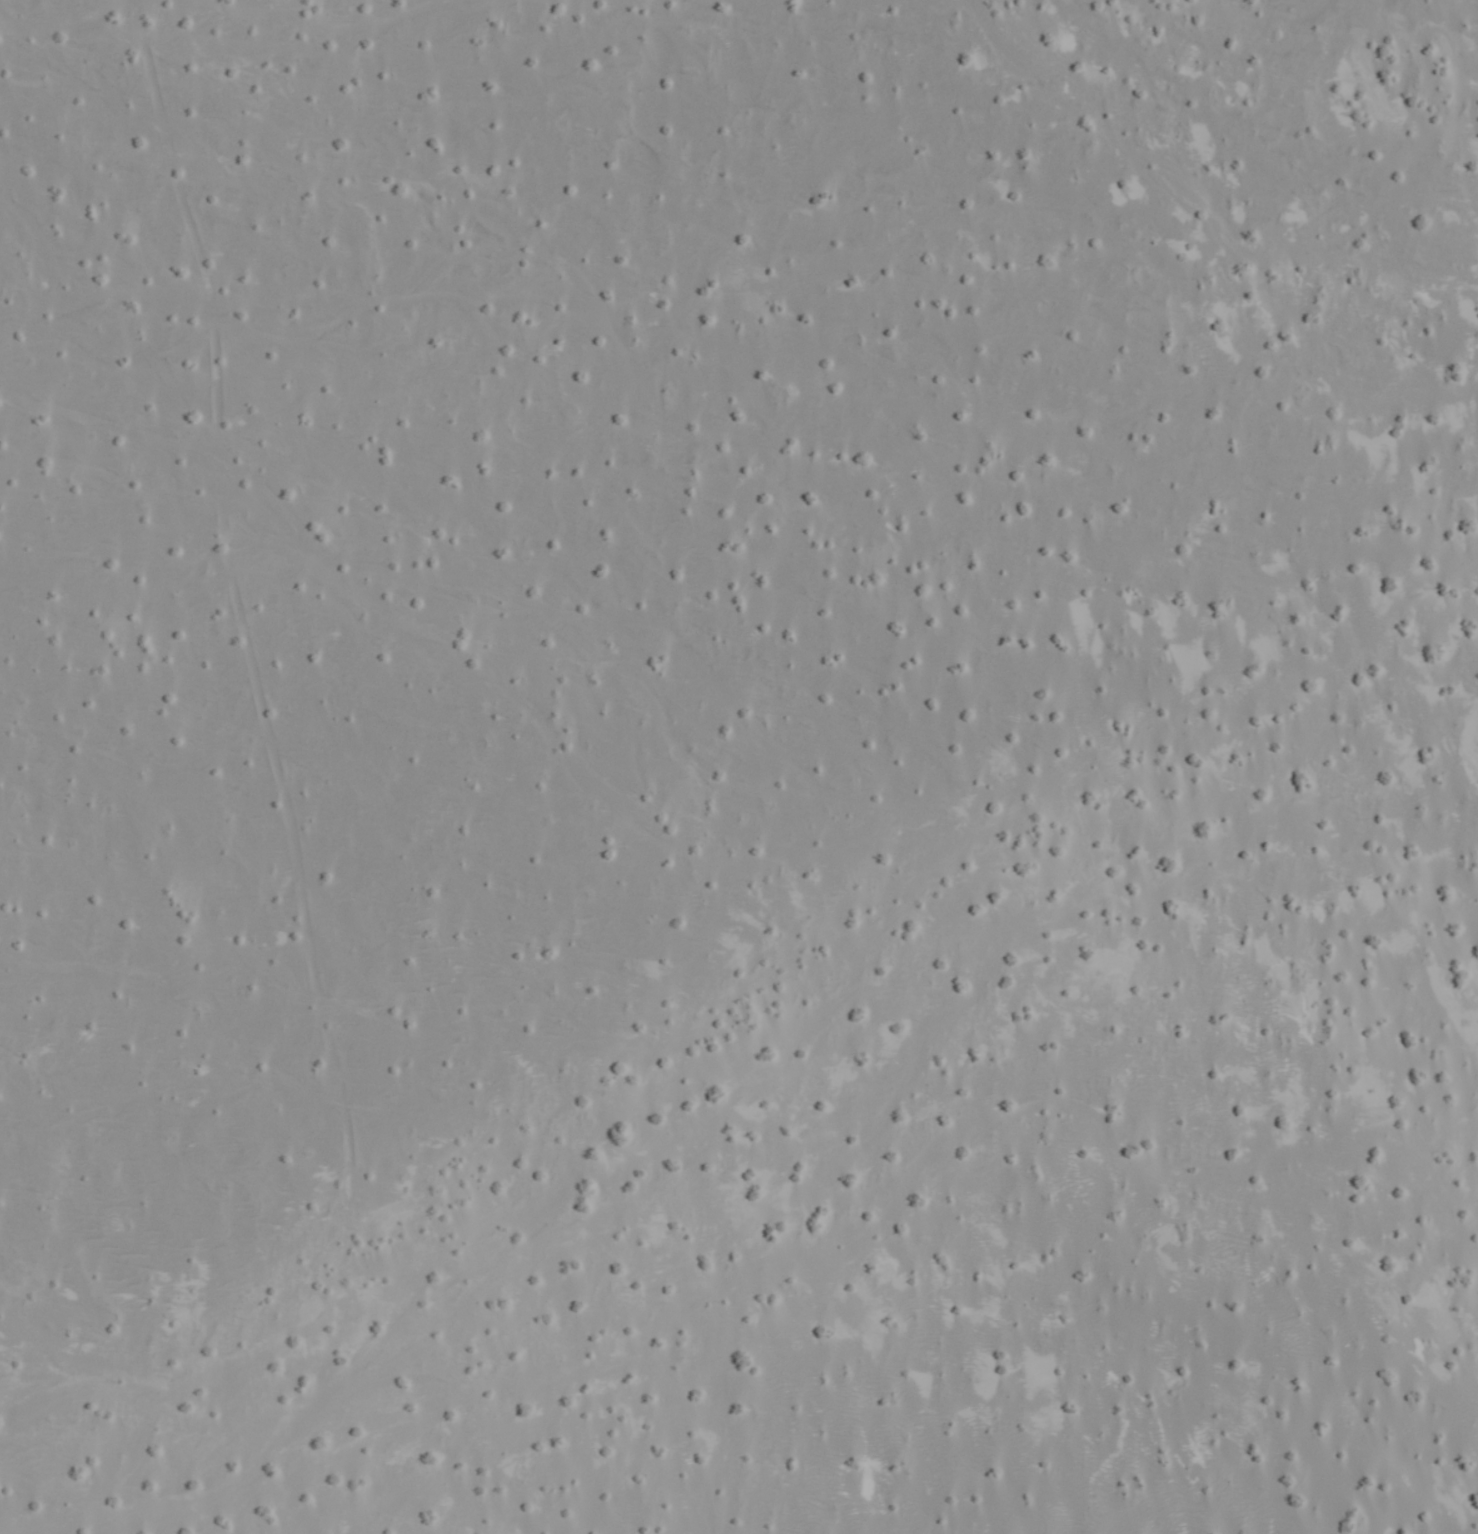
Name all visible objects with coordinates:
road: (274, 767)

